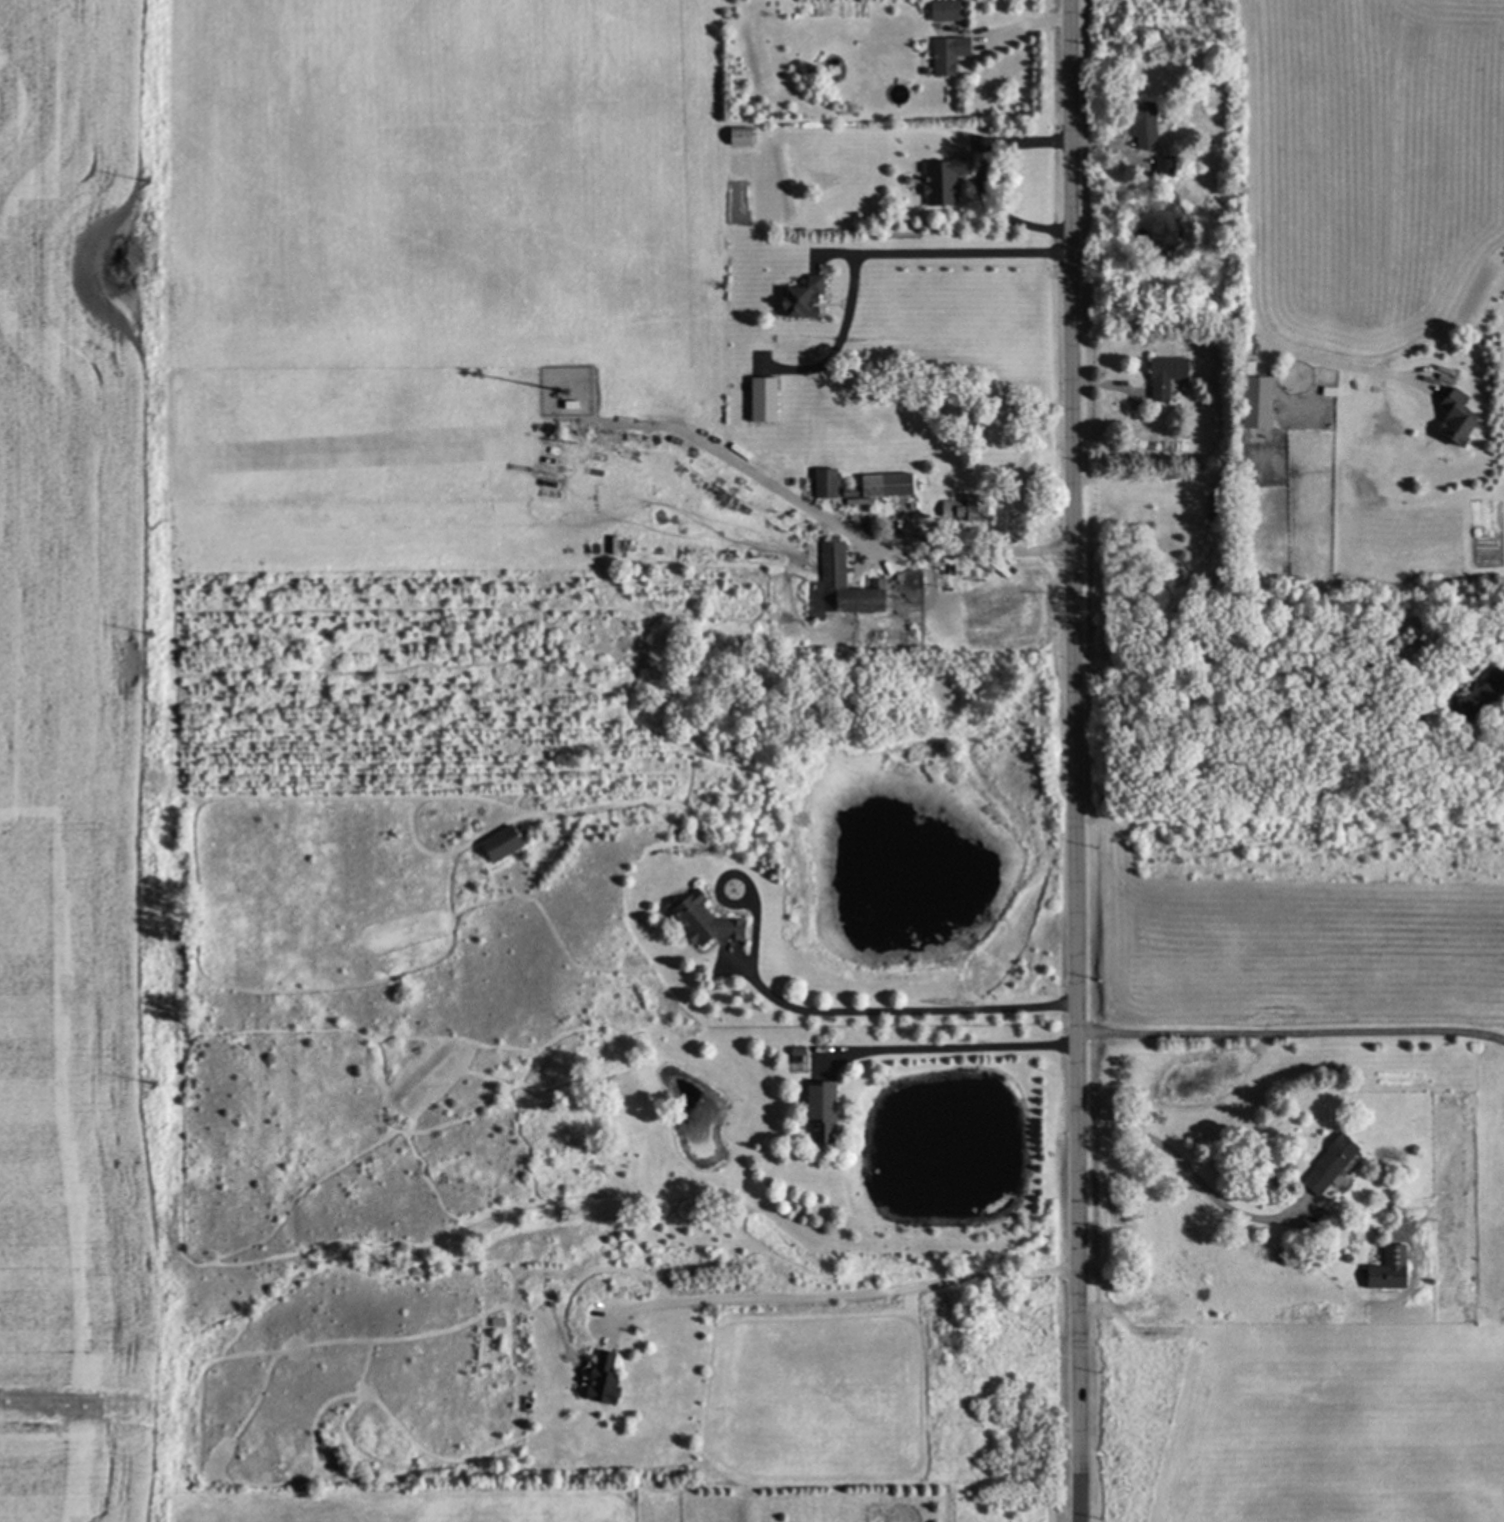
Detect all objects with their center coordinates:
building: (939, 10)
road: (1014, 26)
building: (942, 55)
building: (1139, 125)
building: (735, 136)
road: (976, 179)
building: (938, 181)
road: (870, 245)
road: (1249, 255)
building: (796, 298)
building: (1159, 376)
building: (1249, 397)
building: (760, 399)
building: (1449, 417)
building: (821, 483)
building: (878, 487)
building: (961, 508)
road: (829, 522)
building: (838, 587)
road: (1073, 760)
building: (499, 845)
building: (699, 922)
road: (892, 1011)
road: (1290, 1032)
road: (948, 1046)
building: (814, 1109)
building: (1324, 1166)
road: (1192, 1172)
building: (1385, 1270)
road: (842, 1296)
building: (601, 1382)

